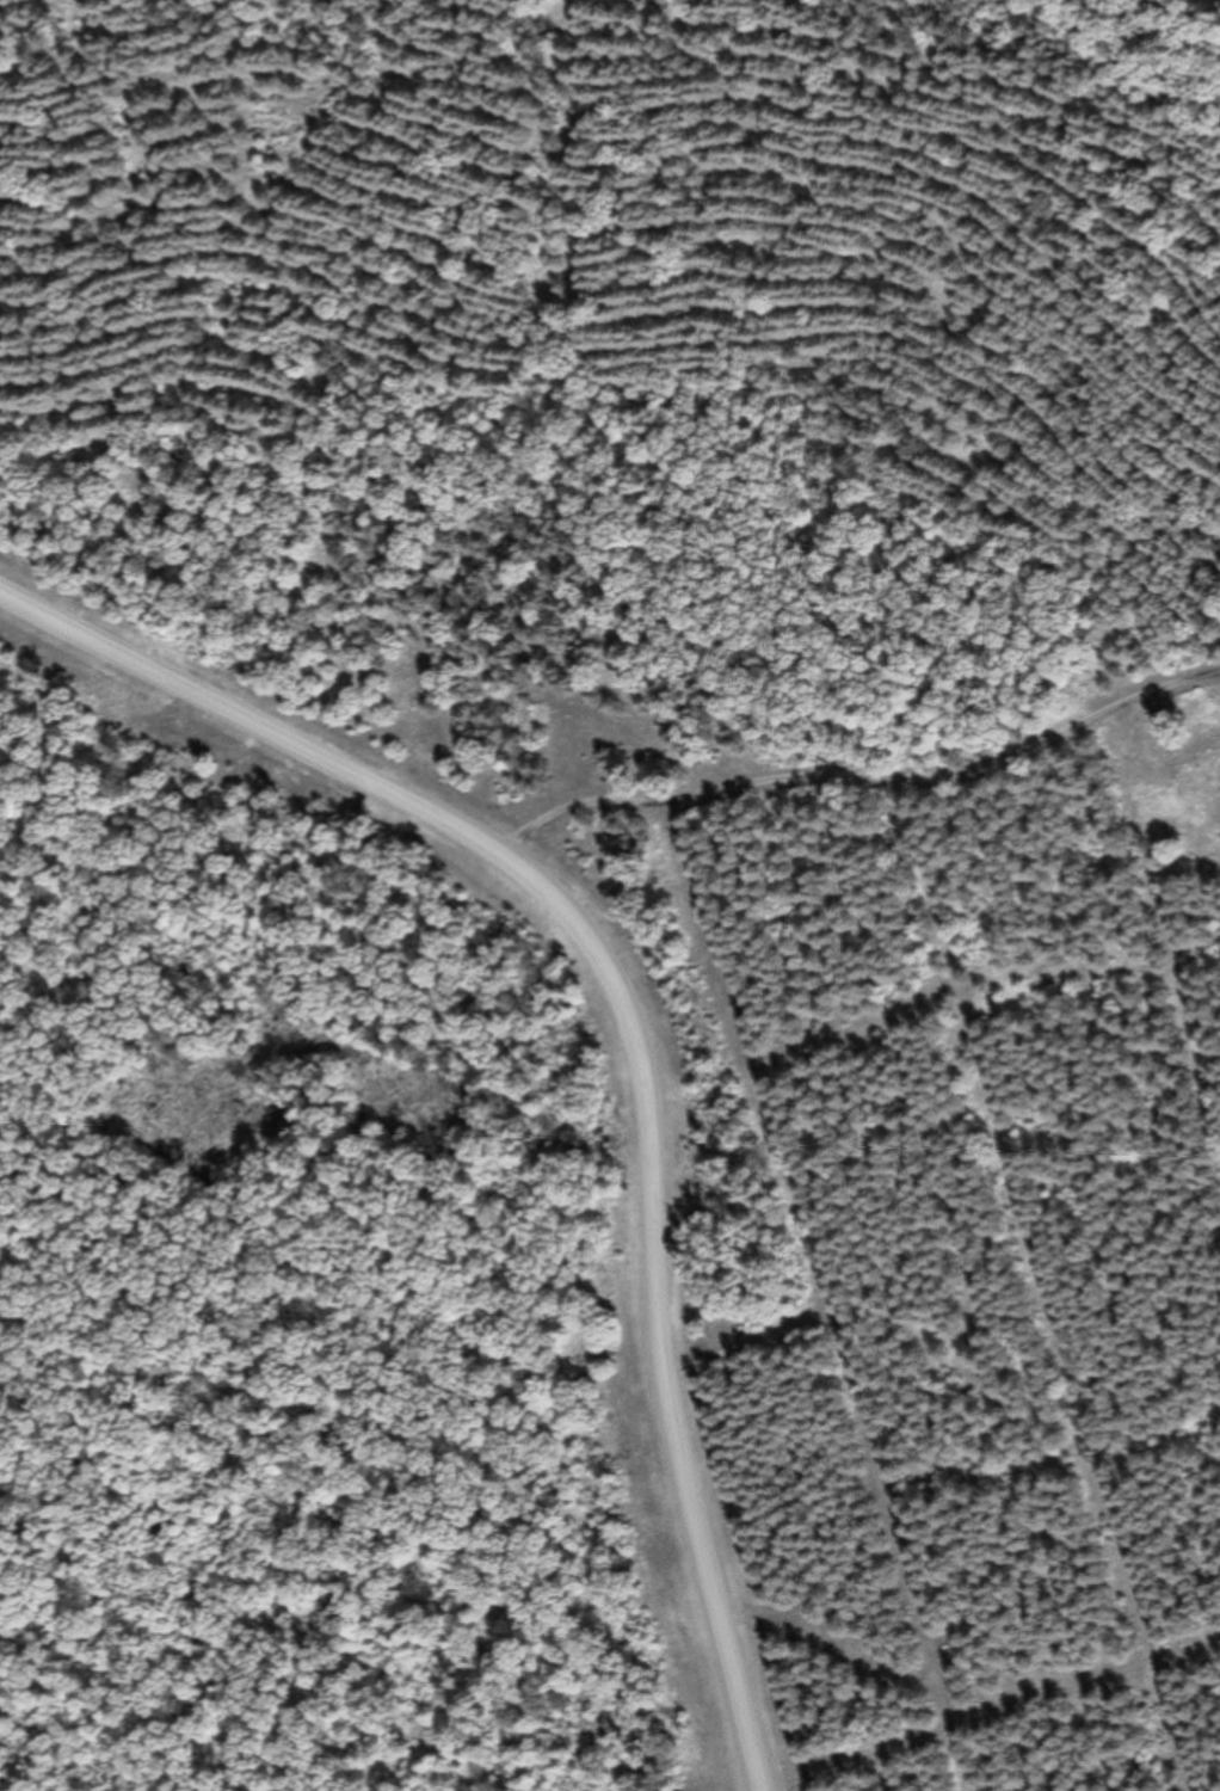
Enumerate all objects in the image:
building: (577, 736)
road: (861, 783)
road: (631, 1024)

